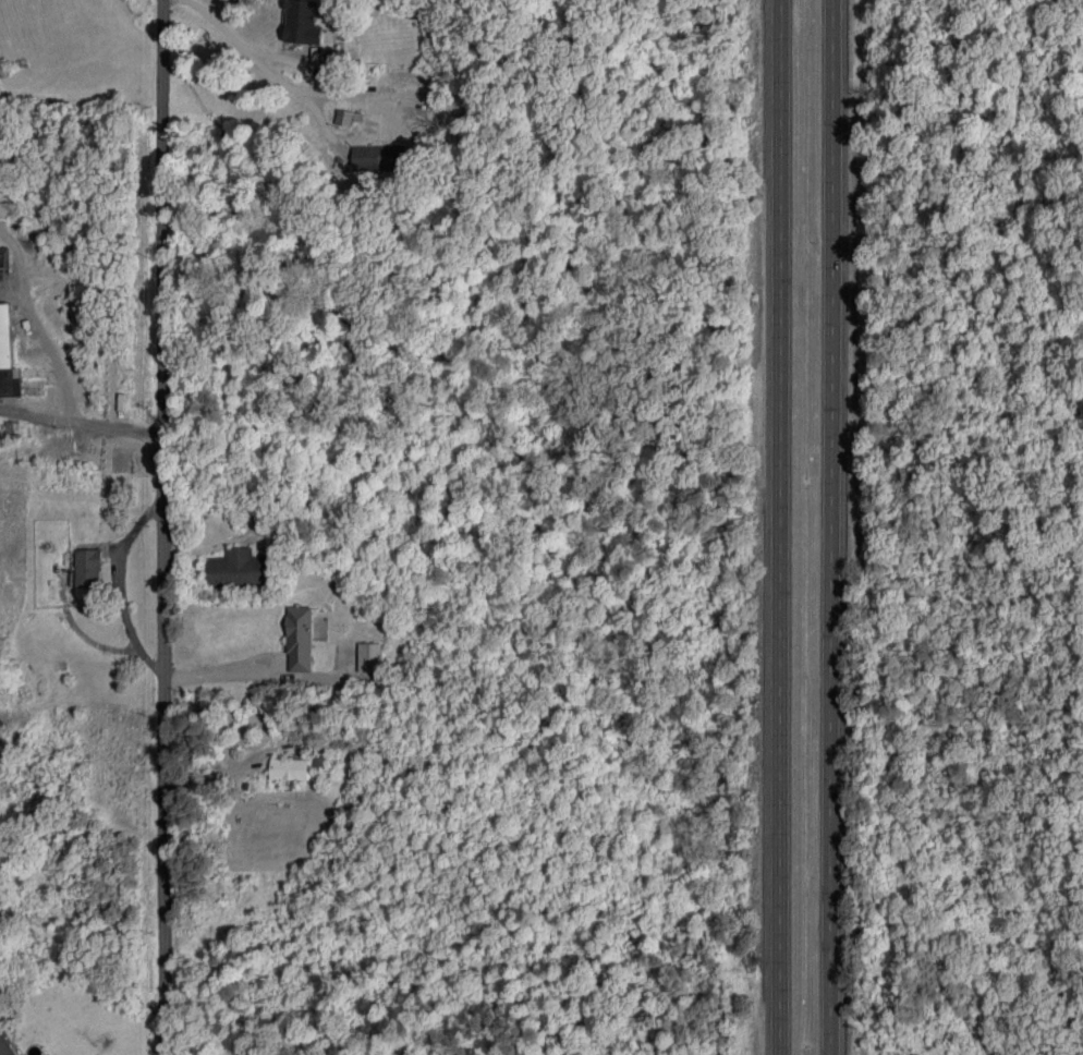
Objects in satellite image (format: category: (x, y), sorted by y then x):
building: (302, 22)
road: (260, 65)
building: (343, 118)
building: (377, 157)
building: (2, 186)
building: (0, 250)
building: (2, 264)
road: (31, 326)
building: (8, 355)
road: (81, 433)
road: (161, 526)
road: (780, 526)
road: (836, 526)
building: (88, 568)
building: (240, 569)
road: (118, 583)
building: (300, 639)
building: (370, 657)
road: (216, 668)
building: (289, 768)
building: (5, 1045)

